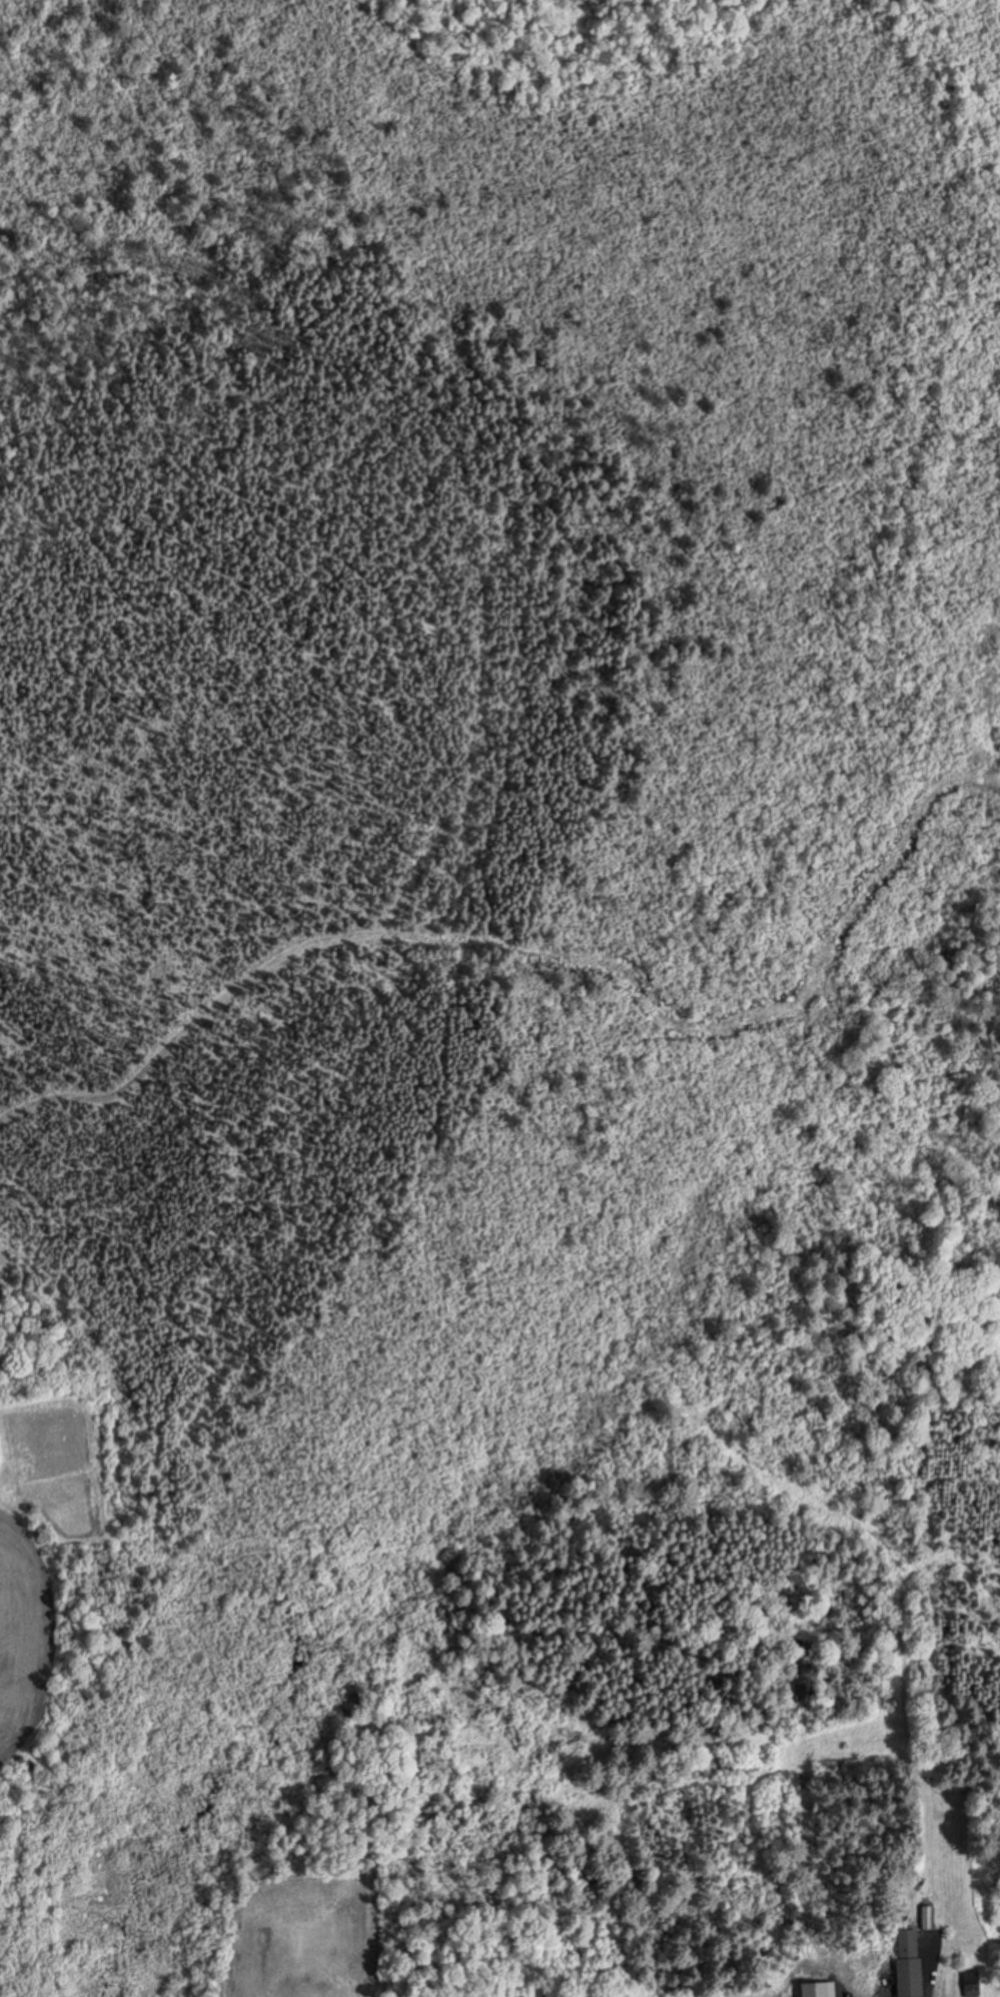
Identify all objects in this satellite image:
building: (901, 1946)
building: (968, 1983)

